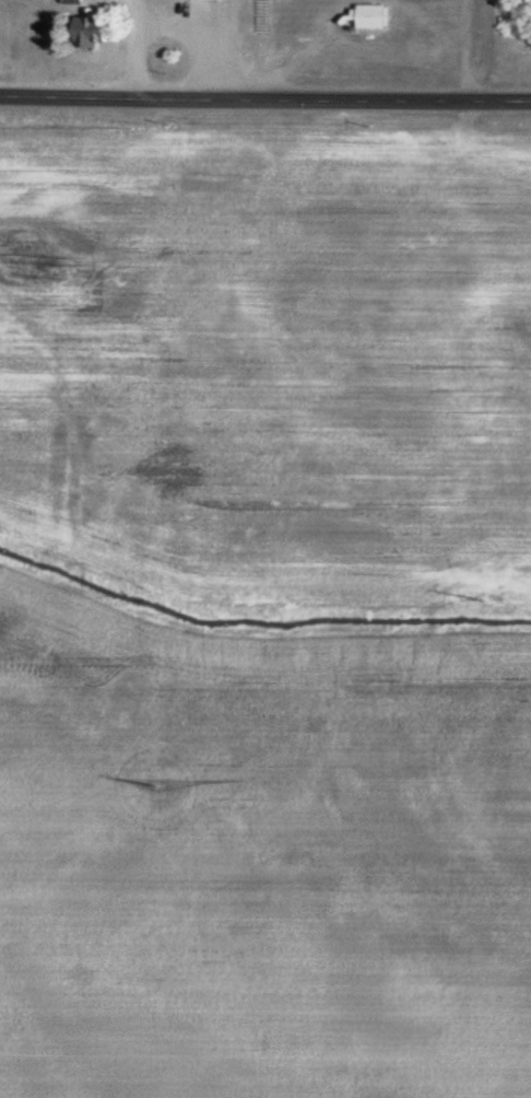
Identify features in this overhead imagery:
building: (212, 1)
building: (79, 3)
building: (378, 19)
building: (101, 33)
road: (264, 102)

